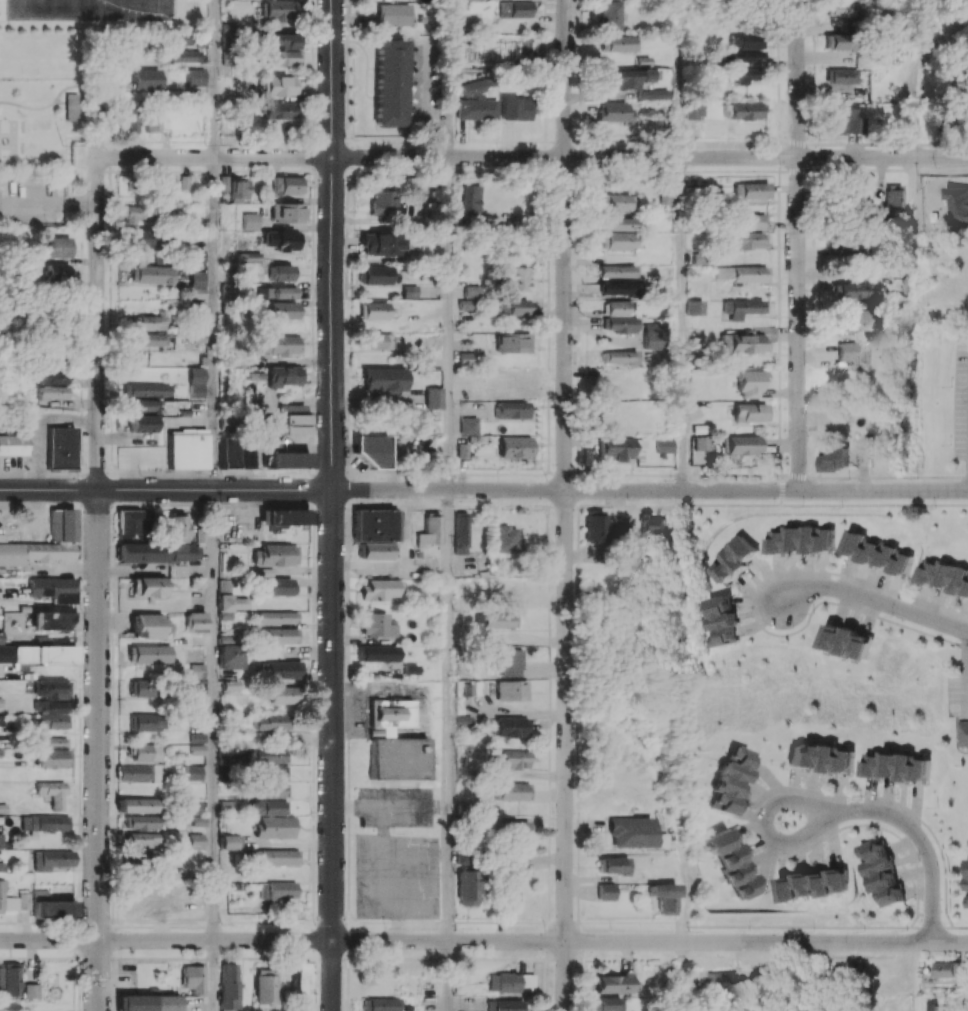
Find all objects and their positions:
building: (842, 8)
building: (516, 9)
building: (277, 10)
park: (128, 11)
building: (393, 14)
building: (609, 15)
building: (282, 40)
building: (745, 40)
building: (839, 41)
building: (618, 43)
building: (743, 57)
building: (282, 58)
building: (742, 74)
building: (841, 76)
building: (196, 77)
building: (625, 77)
road: (218, 78)
road: (449, 78)
road: (681, 78)
road: (799, 78)
building: (147, 79)
building: (389, 83)
building: (279, 86)
building: (473, 87)
building: (651, 94)
building: (71, 108)
building: (476, 108)
building: (514, 108)
building: (278, 110)
building: (695, 110)
building: (744, 110)
building: (614, 112)
building: (844, 119)
building: (128, 120)
building: (152, 122)
park: (9, 141)
road: (215, 156)
road: (565, 157)
road: (883, 157)
building: (185, 181)
building: (287, 185)
building: (239, 190)
building: (749, 191)
building: (895, 198)
building: (471, 199)
building: (383, 202)
building: (617, 202)
parking lot: (32, 203)
building: (286, 212)
building: (135, 214)
building: (249, 221)
building: (748, 221)
building: (619, 223)
building: (139, 237)
building: (281, 239)
building: (618, 240)
building: (745, 240)
road: (332, 244)
building: (382, 244)
building: (58, 246)
building: (196, 256)
building: (56, 267)
building: (618, 271)
building: (281, 272)
building: (743, 273)
building: (151, 275)
building: (377, 275)
road: (98, 276)
building: (514, 278)
building: (197, 284)
building: (619, 288)
building: (850, 290)
building: (409, 291)
building: (471, 291)
building: (276, 292)
building: (517, 306)
building: (694, 307)
building: (742, 308)
building: (278, 310)
building: (375, 310)
building: (619, 316)
building: (854, 320)
building: (150, 321)
road: (216, 323)
road: (450, 323)
road: (682, 323)
road: (798, 323)
building: (150, 339)
building: (376, 340)
building: (512, 343)
building: (741, 343)
building: (278, 344)
building: (846, 351)
building: (620, 357)
building: (465, 358)
building: (283, 375)
building: (52, 377)
building: (383, 379)
building: (196, 382)
building: (750, 383)
building: (147, 390)
building: (54, 392)
building: (431, 398)
parking lot: (960, 403)
building: (143, 405)
building: (511, 410)
building: (750, 412)
building: (287, 420)
building: (141, 423)
building: (468, 425)
building: (701, 443)
building: (13, 444)
building: (664, 445)
building: (742, 445)
building: (60, 447)
building: (514, 447)
building: (619, 447)
building: (187, 449)
building: (372, 450)
building: (235, 452)
building: (834, 458)
building: (287, 460)
road: (165, 489)
road: (565, 490)
road: (883, 490)
road: (565, 505)
building: (283, 518)
building: (131, 523)
building: (653, 523)
building: (62, 525)
building: (595, 526)
building: (178, 527)
building: (430, 530)
building: (461, 532)
building: (376, 533)
building: (506, 539)
building: (799, 539)
building: (157, 552)
building: (877, 552)
building: (275, 555)
building: (732, 559)
building: (945, 575)
building: (148, 586)
building: (279, 586)
building: (516, 586)
building: (51, 588)
building: (379, 589)
building: (229, 600)
road: (872, 600)
building: (277, 617)
building: (52, 619)
building: (195, 620)
building: (496, 620)
building: (720, 620)
building: (377, 625)
building: (150, 626)
building: (281, 635)
building: (227, 639)
building: (847, 641)
building: (376, 653)
building: (147, 654)
building: (35, 655)
building: (231, 656)
building: (508, 661)
building: (197, 670)
building: (280, 670)
building: (51, 688)
building: (139, 688)
building: (512, 690)
building: (280, 695)
building: (49, 714)
building: (389, 714)
road: (215, 715)
road: (451, 715)
building: (0, 720)
building: (146, 722)
building: (270, 725)
building: (510, 726)
building: (231, 728)
building: (963, 733)
building: (196, 737)
building: (51, 741)
building: (196, 749)
road: (98, 750)
road: (332, 750)
building: (145, 752)
building: (268, 755)
building: (822, 757)
building: (52, 758)
building: (396, 758)
building: (512, 760)
building: (899, 766)
building: (267, 771)
building: (139, 772)
building: (194, 772)
building: (730, 779)
building: (268, 790)
building: (513, 791)
building: (52, 793)
road: (391, 804)
building: (137, 805)
building: (193, 807)
building: (267, 807)
building: (2, 808)
building: (199, 820)
building: (44, 822)
building: (143, 822)
building: (273, 826)
road: (907, 826)
building: (512, 829)
road: (383, 830)
building: (631, 832)
building: (144, 838)
building: (1, 840)
building: (196, 841)
building: (230, 842)
building: (147, 856)
building: (462, 856)
building: (276, 857)
road: (413, 857)
building: (52, 859)
building: (733, 862)
building: (612, 865)
building: (2, 866)
building: (880, 872)
building: (510, 875)
building: (967, 875)
building: (812, 884)
building: (467, 888)
building: (276, 891)
building: (605, 891)
building: (662, 897)
building: (6, 900)
building: (24, 900)
building: (51, 906)
road: (483, 941)
building: (946, 969)
road: (216, 975)
road: (450, 976)
road: (681, 976)
building: (193, 978)
building: (10, 979)
building: (299, 982)
building: (511, 982)
building: (612, 983)
building: (265, 986)
building: (229, 987)
building: (31, 990)
building: (148, 1002)
building: (964, 1003)
building: (379, 1004)
building: (606, 1004)
building: (504, 1005)

